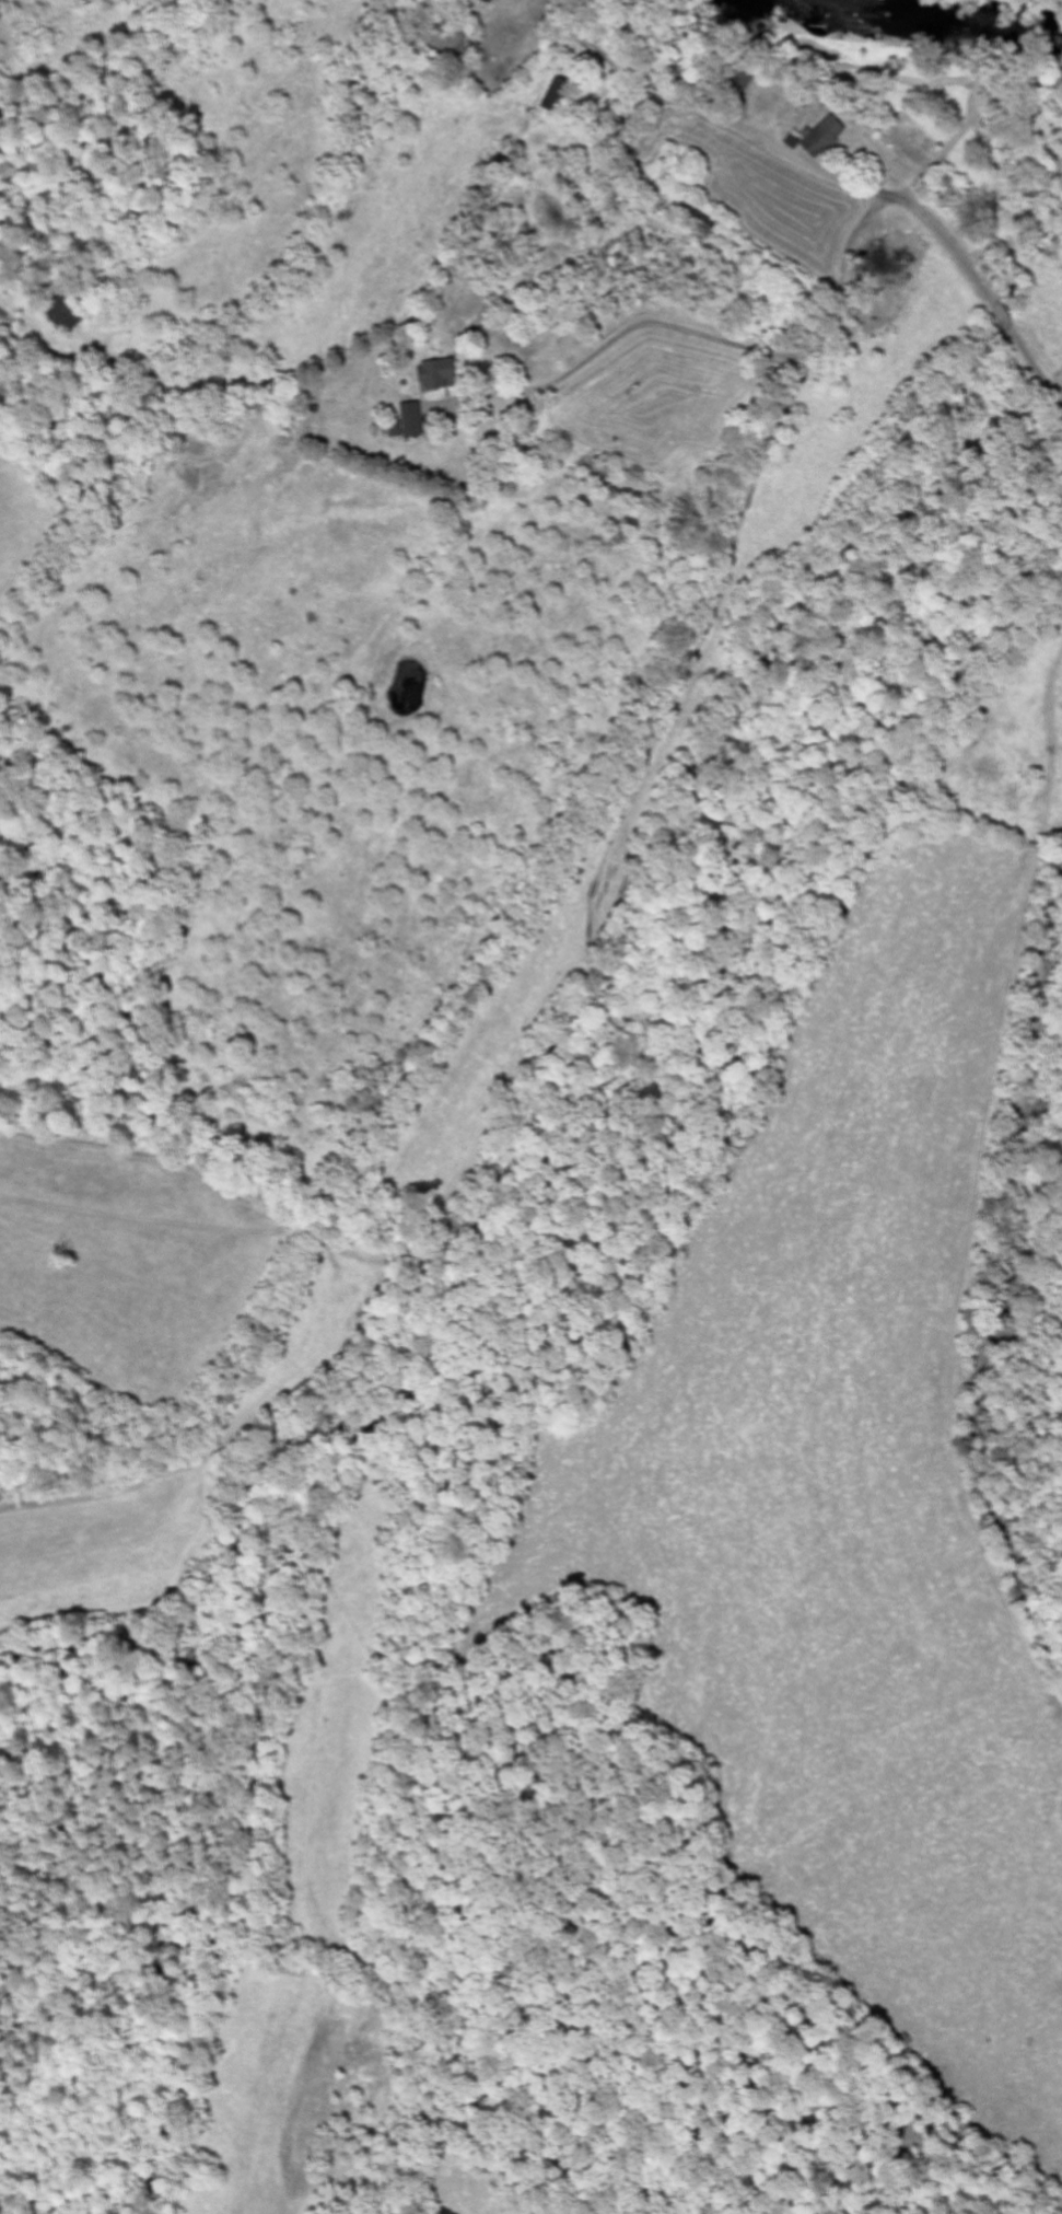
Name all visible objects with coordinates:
river: (929, 15)
road: (762, 113)
building: (835, 128)
road: (839, 313)
road: (952, 347)
building: (441, 372)
road: (1061, 395)
building: (412, 420)

